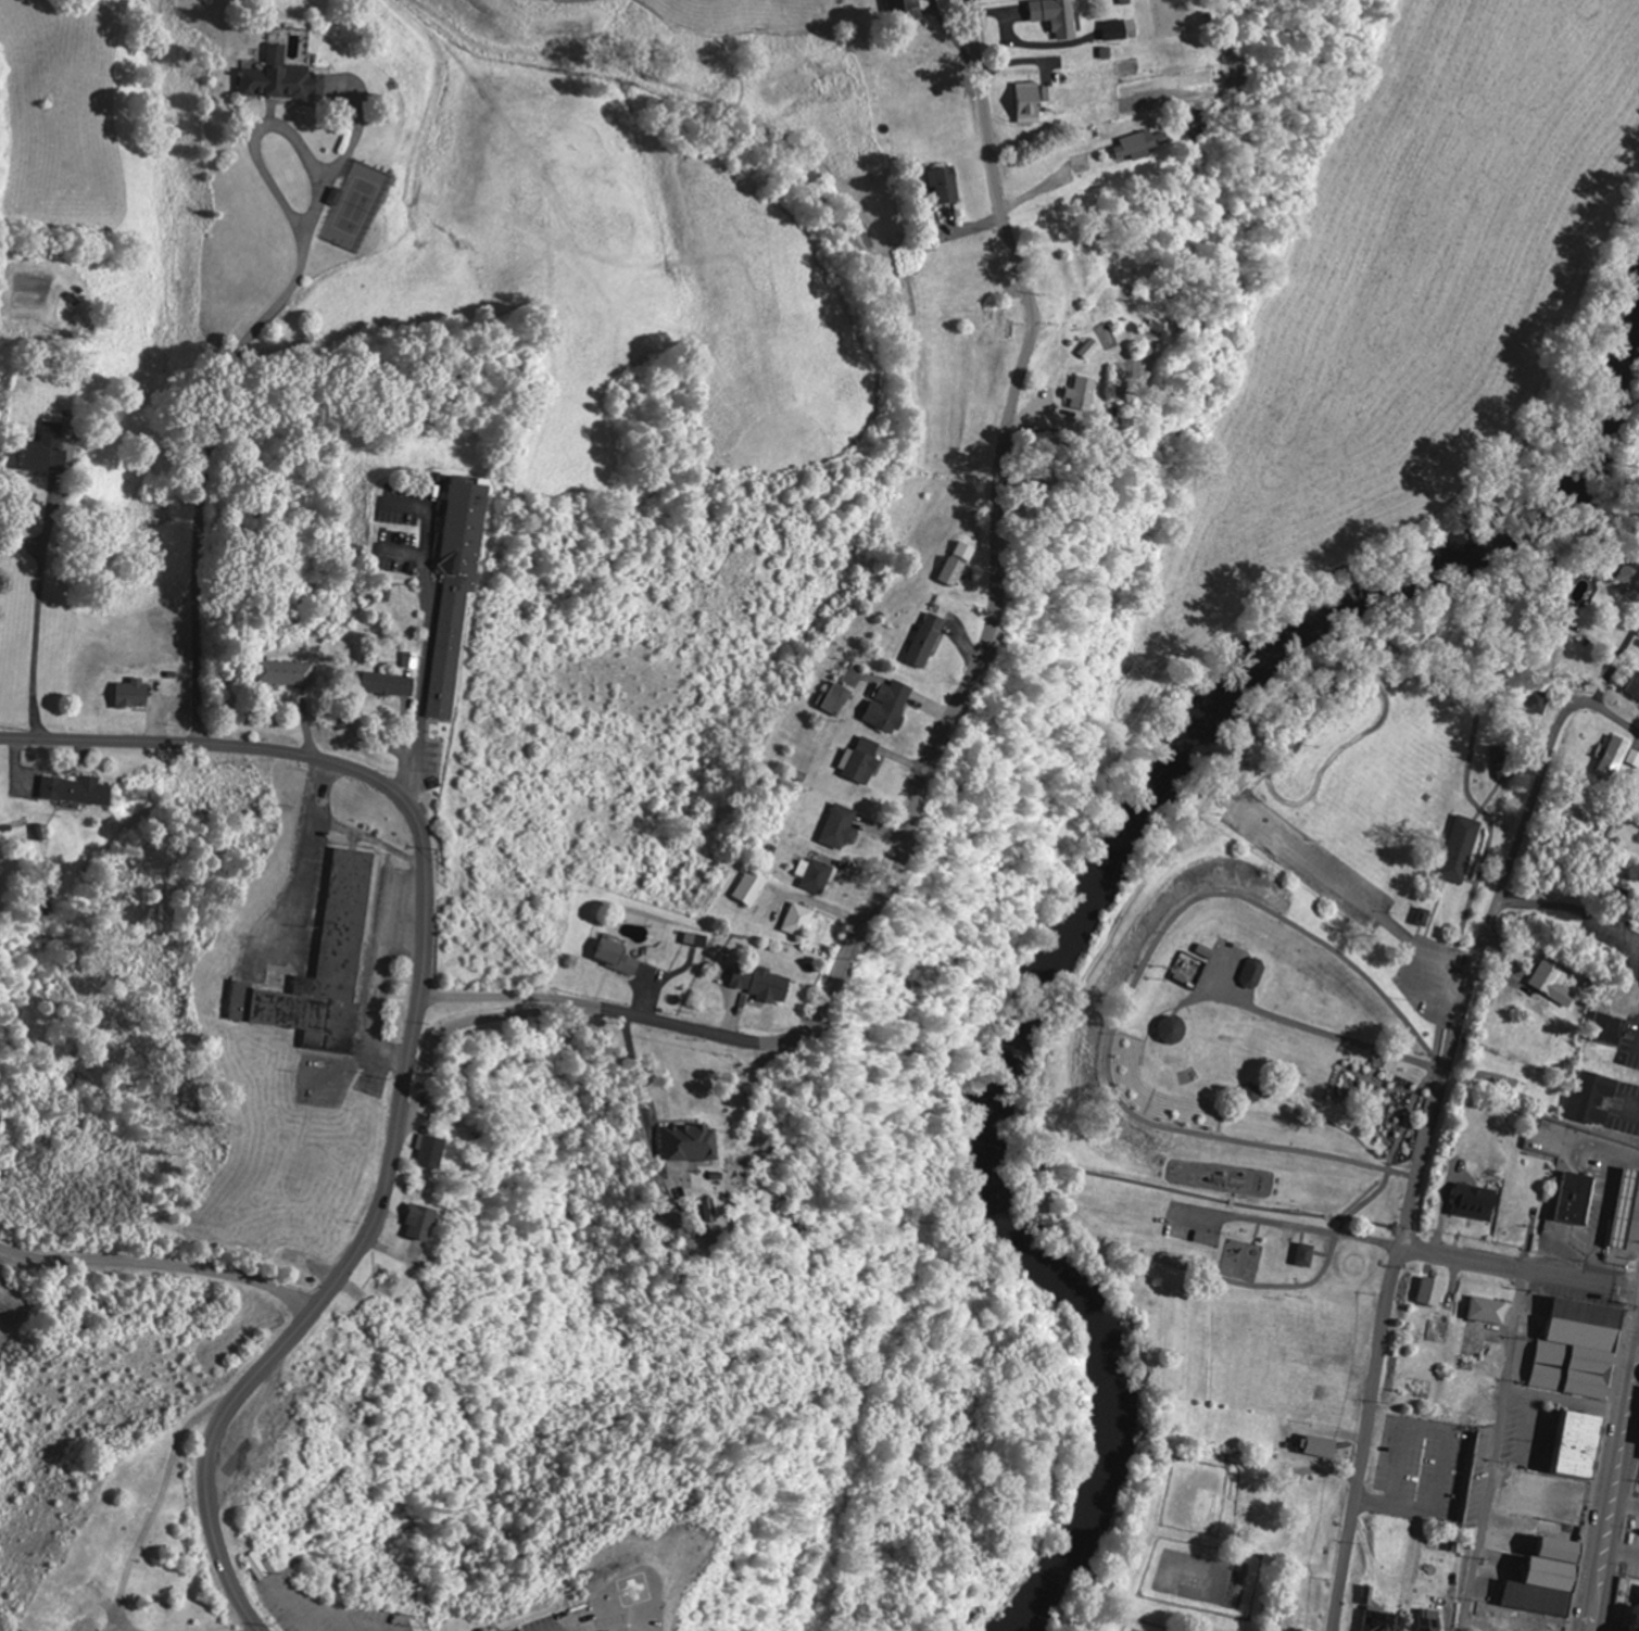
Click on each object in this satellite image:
building: (908, 8)
building: (1057, 17)
building: (1114, 31)
building: (283, 80)
building: (1035, 102)
building: (1143, 146)
building: (948, 186)
park: (356, 206)
road: (225, 382)
building: (1081, 393)
building: (48, 450)
building: (959, 564)
building: (1630, 576)
road: (38, 578)
building: (458, 590)
building: (925, 641)
road: (1616, 665)
building: (287, 673)
building: (392, 684)
building: (1636, 687)
building: (135, 693)
building: (836, 699)
building: (1541, 703)
building: (890, 706)
road: (1618, 717)
road: (946, 718)
building: (1615, 757)
building: (1634, 758)
building: (862, 760)
building: (1508, 761)
building: (80, 789)
building: (842, 827)
building: (1465, 849)
building: (818, 875)
building: (753, 888)
river: (1093, 888)
road: (1351, 889)
parking lot: (1356, 908)
building: (803, 921)
building: (699, 939)
building: (621, 957)
park: (1297, 966)
building: (325, 968)
building: (1258, 974)
building: (1555, 982)
building: (765, 984)
road: (475, 1020)
road: (1311, 1029)
building: (1176, 1031)
road: (411, 1041)
building: (1594, 1098)
building: (694, 1143)
road: (1424, 1146)
building: (433, 1151)
building: (1577, 1199)
building: (1477, 1202)
building: (709, 1210)
building: (423, 1222)
parking lot: (1194, 1225)
road: (1410, 1248)
building: (1310, 1255)
road: (160, 1266)
building: (1432, 1291)
building: (1489, 1311)
building: (1583, 1350)
road: (1565, 1400)
building: (1583, 1443)
building: (1325, 1446)
road: (1498, 1450)
road: (1612, 1480)
building: (1552, 1582)
helipad: (629, 1608)
building: (1637, 1610)
building: (1430, 1620)
building: (1383, 1621)
building: (1637, 1626)

